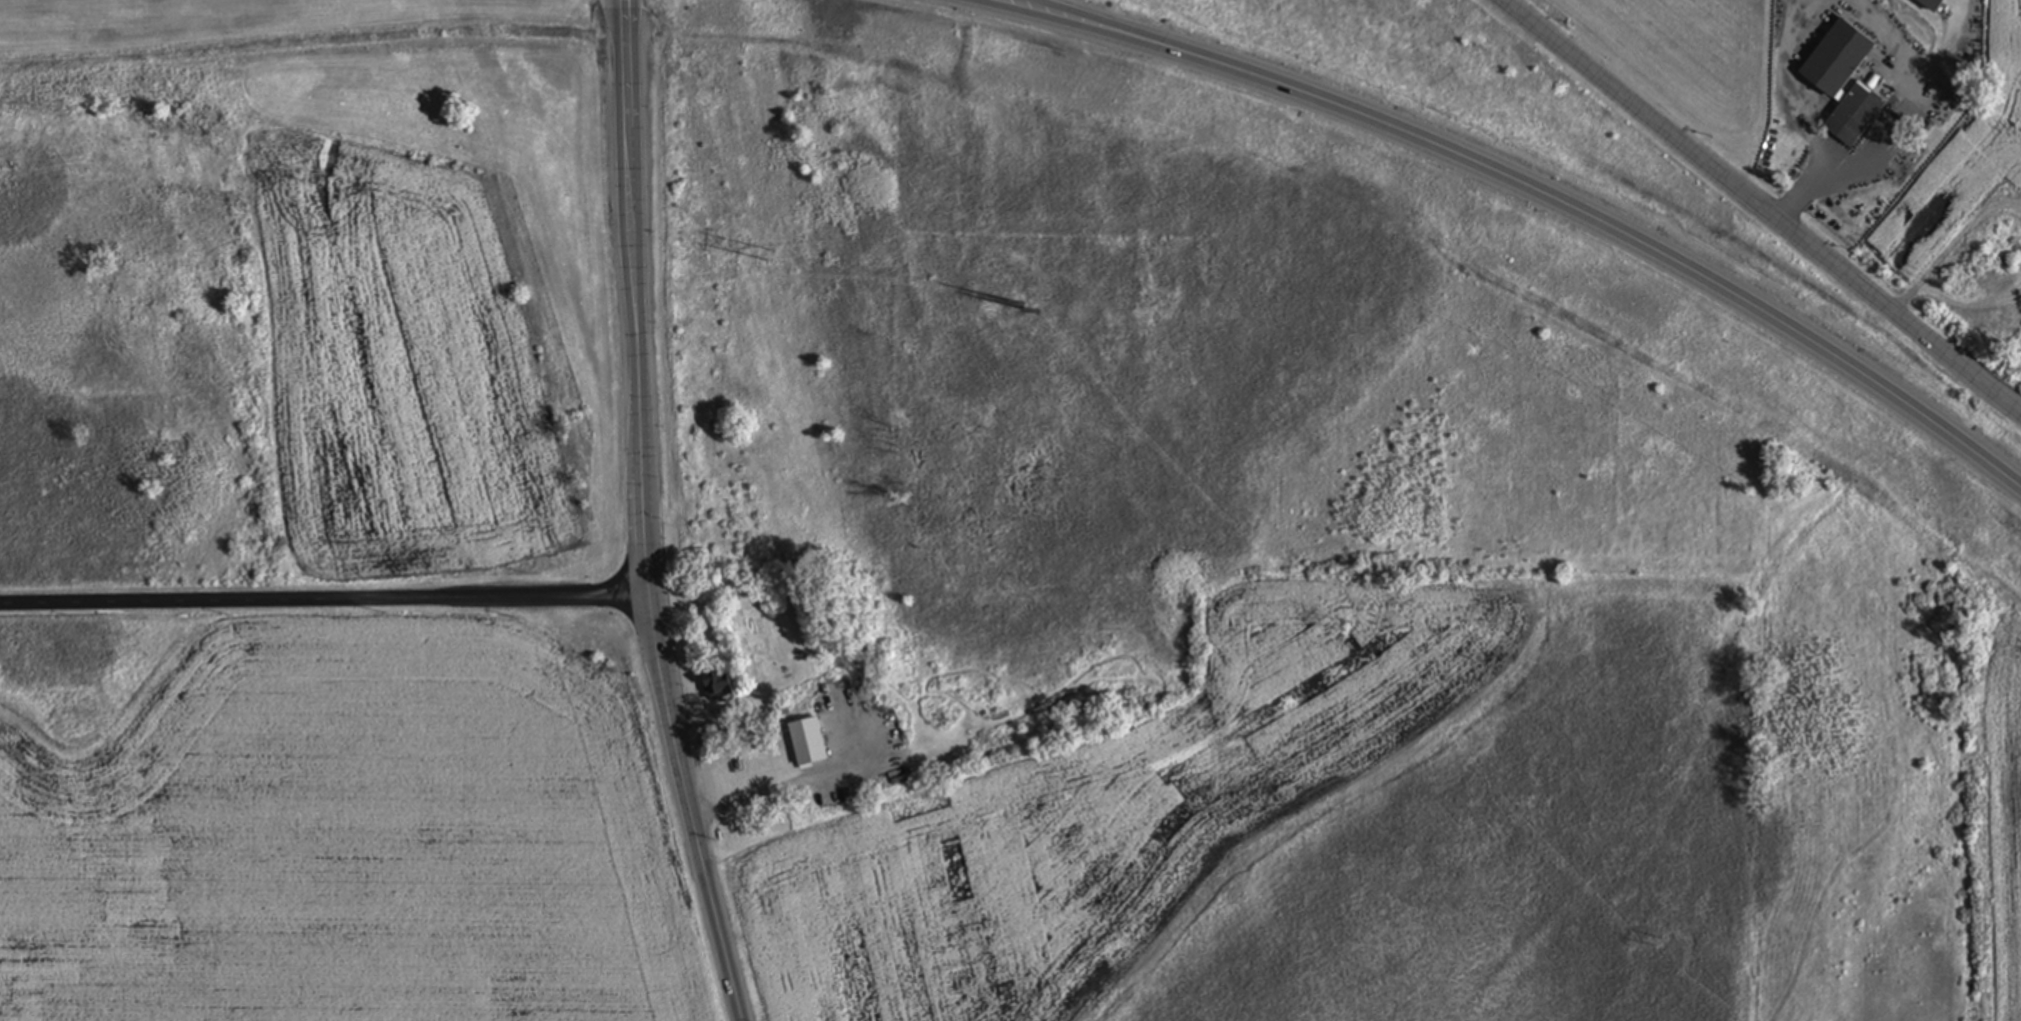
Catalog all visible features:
road: (1016, 1)
road: (1021, 1)
road: (622, 7)
road: (625, 7)
road: (1784, 81)
building: (1846, 82)
road: (1915, 100)
power tower: (320, 181)
road: (1802, 194)
road: (1547, 200)
road: (1761, 207)
power tower: (772, 256)
road: (647, 522)
road: (327, 605)
building: (718, 685)
building: (807, 743)
road: (751, 798)

